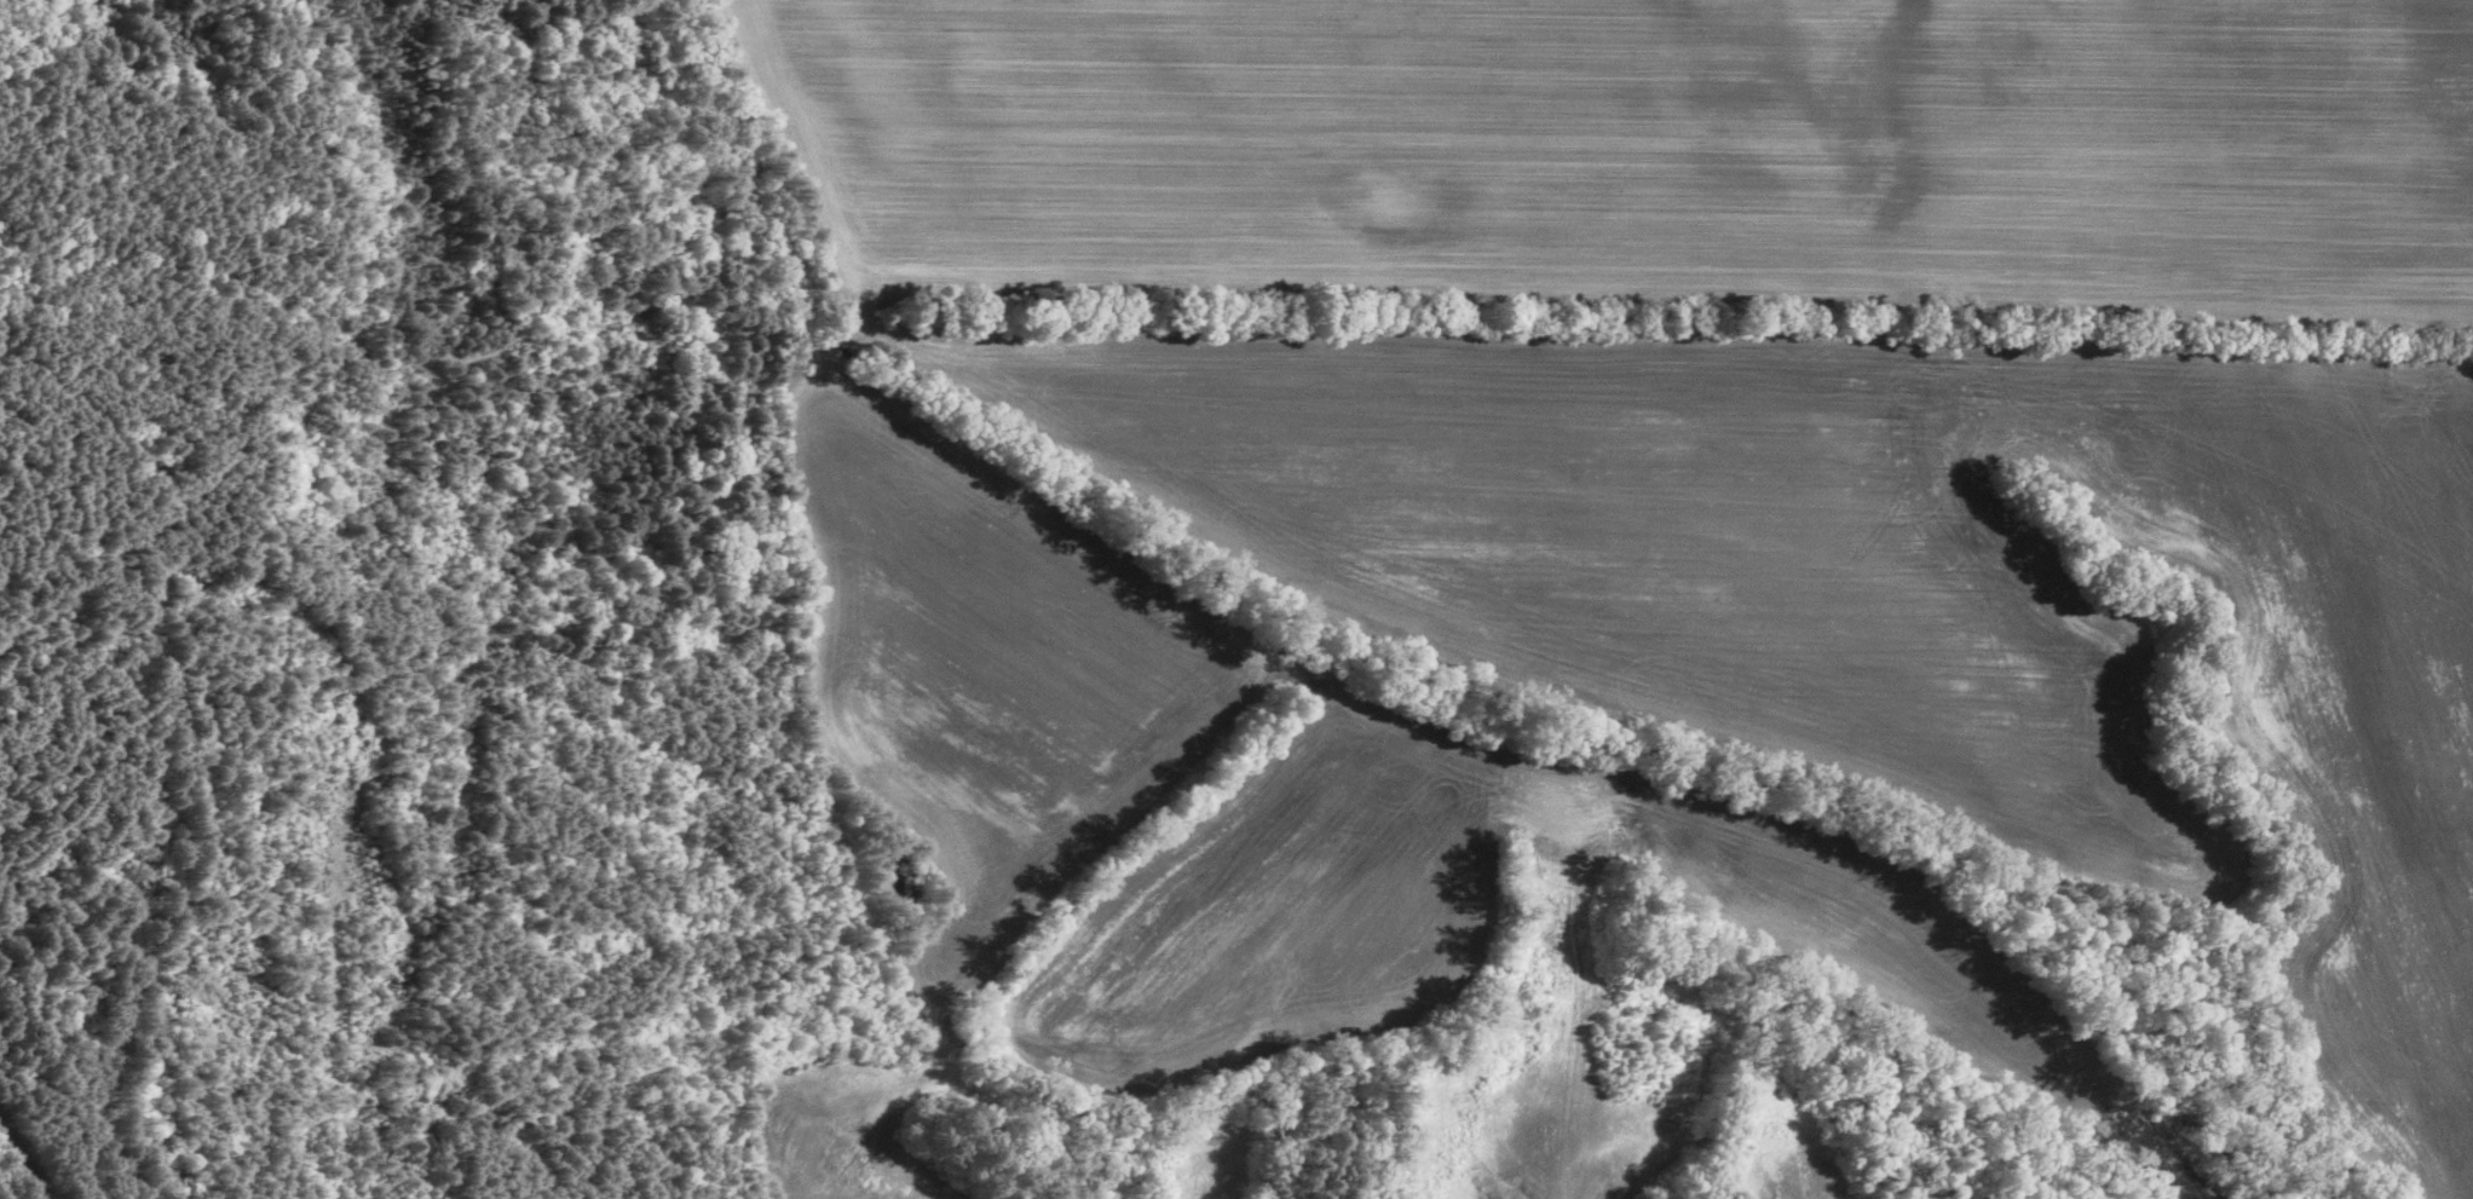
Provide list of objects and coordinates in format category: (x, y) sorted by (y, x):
road: (30, 1157)

